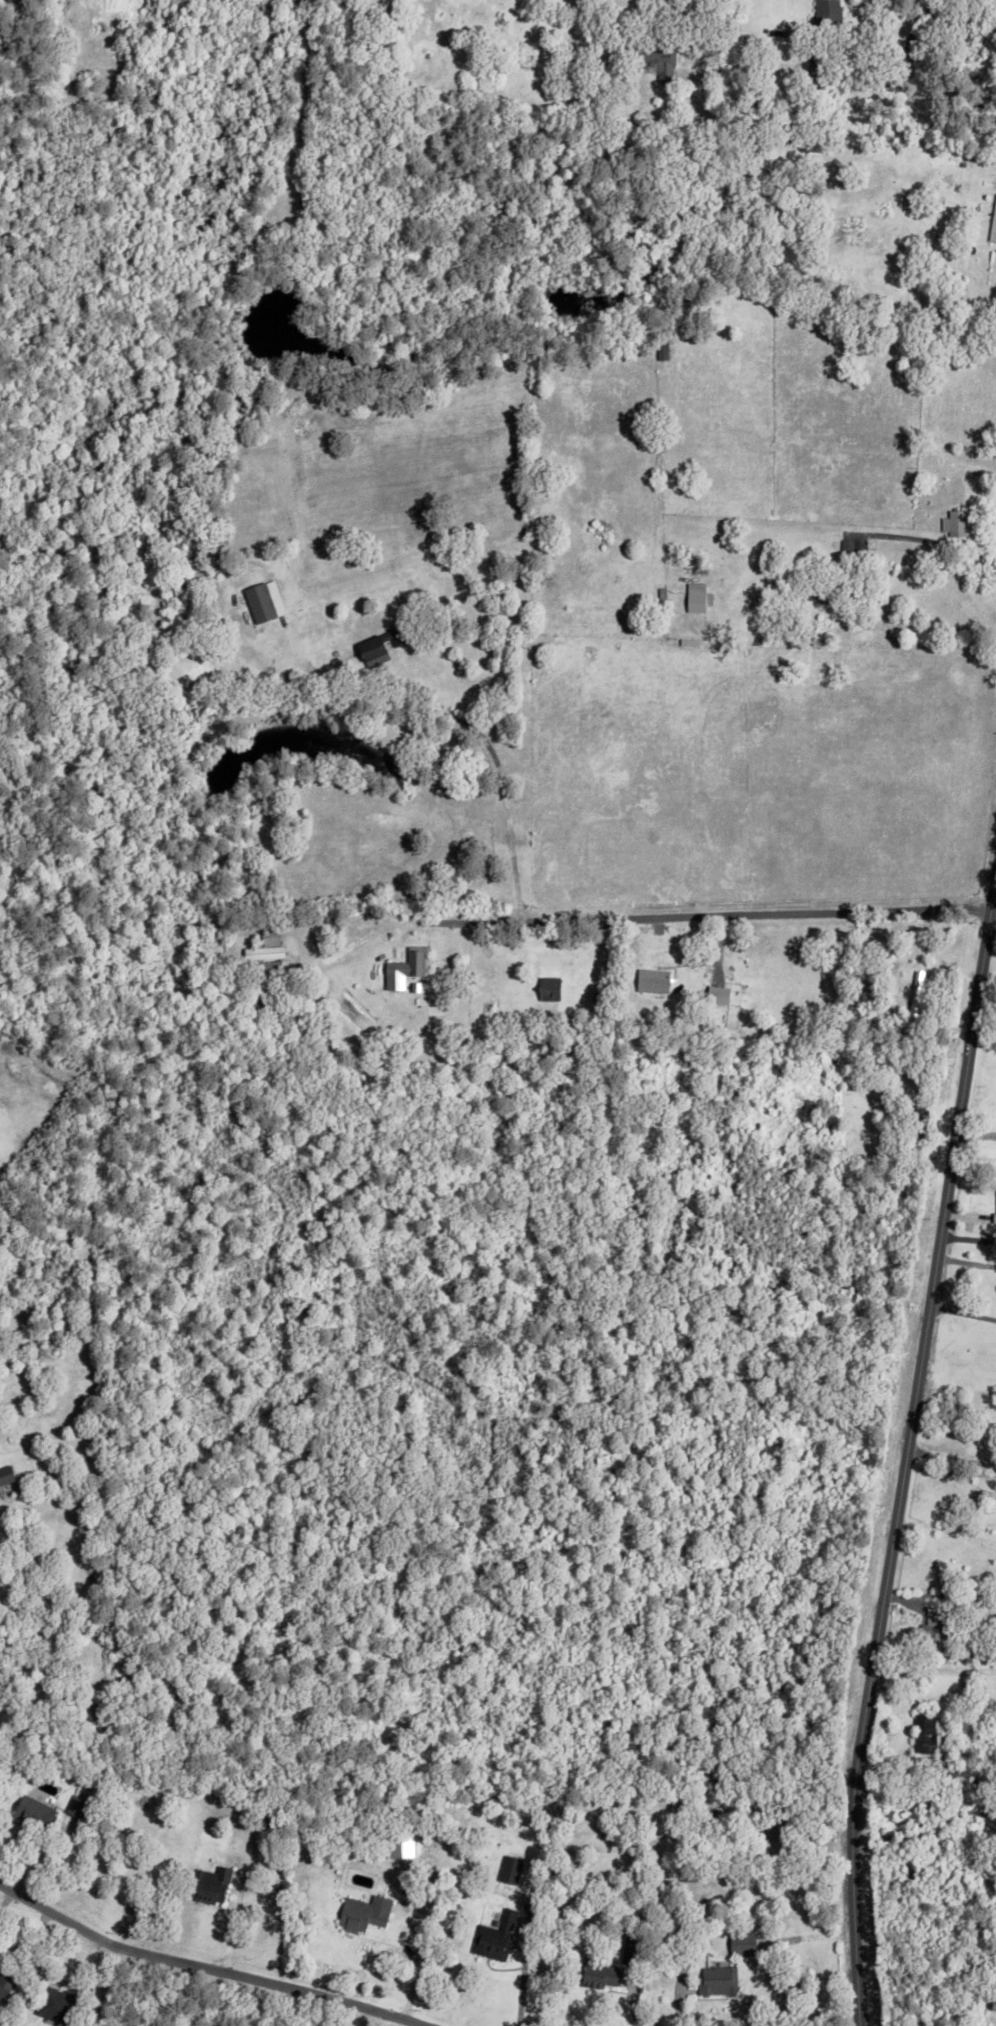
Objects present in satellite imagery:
road: (602, 12)
building: (822, 16)
road: (963, 19)
building: (776, 30)
building: (616, 54)
building: (605, 55)
building: (651, 55)
building: (755, 66)
road: (888, 78)
building: (976, 147)
building: (992, 218)
building: (917, 282)
building: (952, 520)
road: (864, 535)
building: (697, 567)
building: (659, 592)
building: (695, 595)
building: (258, 600)
building: (686, 640)
building: (379, 643)
road: (502, 802)
road: (993, 910)
road: (723, 917)
road: (383, 926)
building: (263, 936)
building: (265, 950)
building: (409, 961)
building: (267, 968)
building: (650, 979)
building: (318, 982)
building: (547, 987)
building: (914, 992)
building: (716, 993)
building: (330, 994)
building: (532, 1010)
building: (701, 1018)
building: (524, 1035)
building: (882, 1100)
building: (916, 1127)
building: (993, 1199)
road: (966, 1261)
road: (963, 1311)
road: (908, 1449)
road: (952, 1458)
building: (8, 1475)
building: (5, 1493)
road: (946, 1528)
building: (933, 1625)
building: (983, 1643)
building: (923, 1734)
building: (945, 1736)
building: (952, 1774)
building: (74, 1806)
building: (39, 1813)
building: (265, 1820)
building: (399, 1847)
building: (509, 1870)
building: (216, 1886)
building: (362, 1913)
building: (493, 1937)
building: (741, 1943)
building: (630, 1951)
road: (209, 1969)
road: (414, 1969)
building: (595, 1975)
building: (716, 1981)
building: (5, 1983)
building: (58, 2007)

